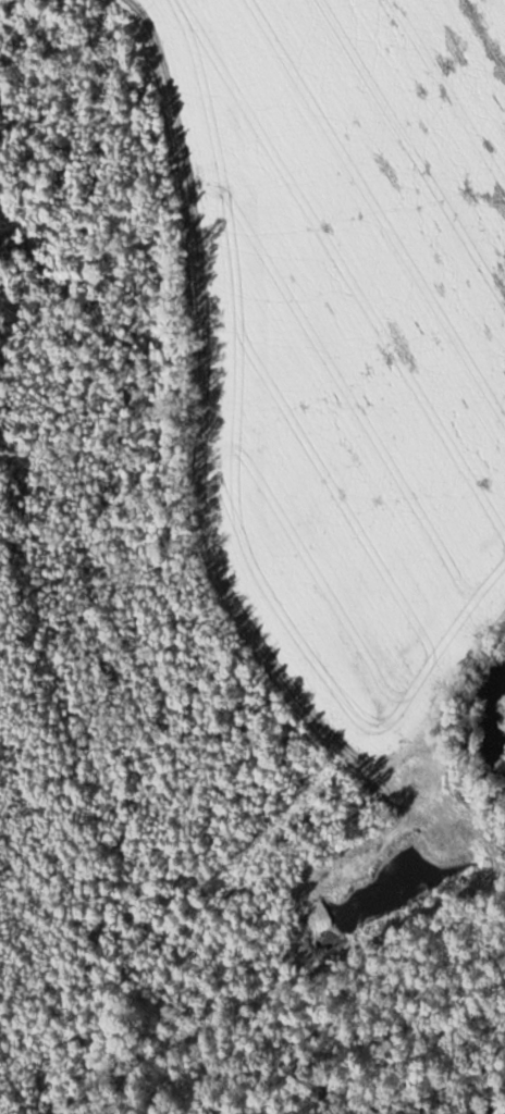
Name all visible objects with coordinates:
river: (486, 730)

